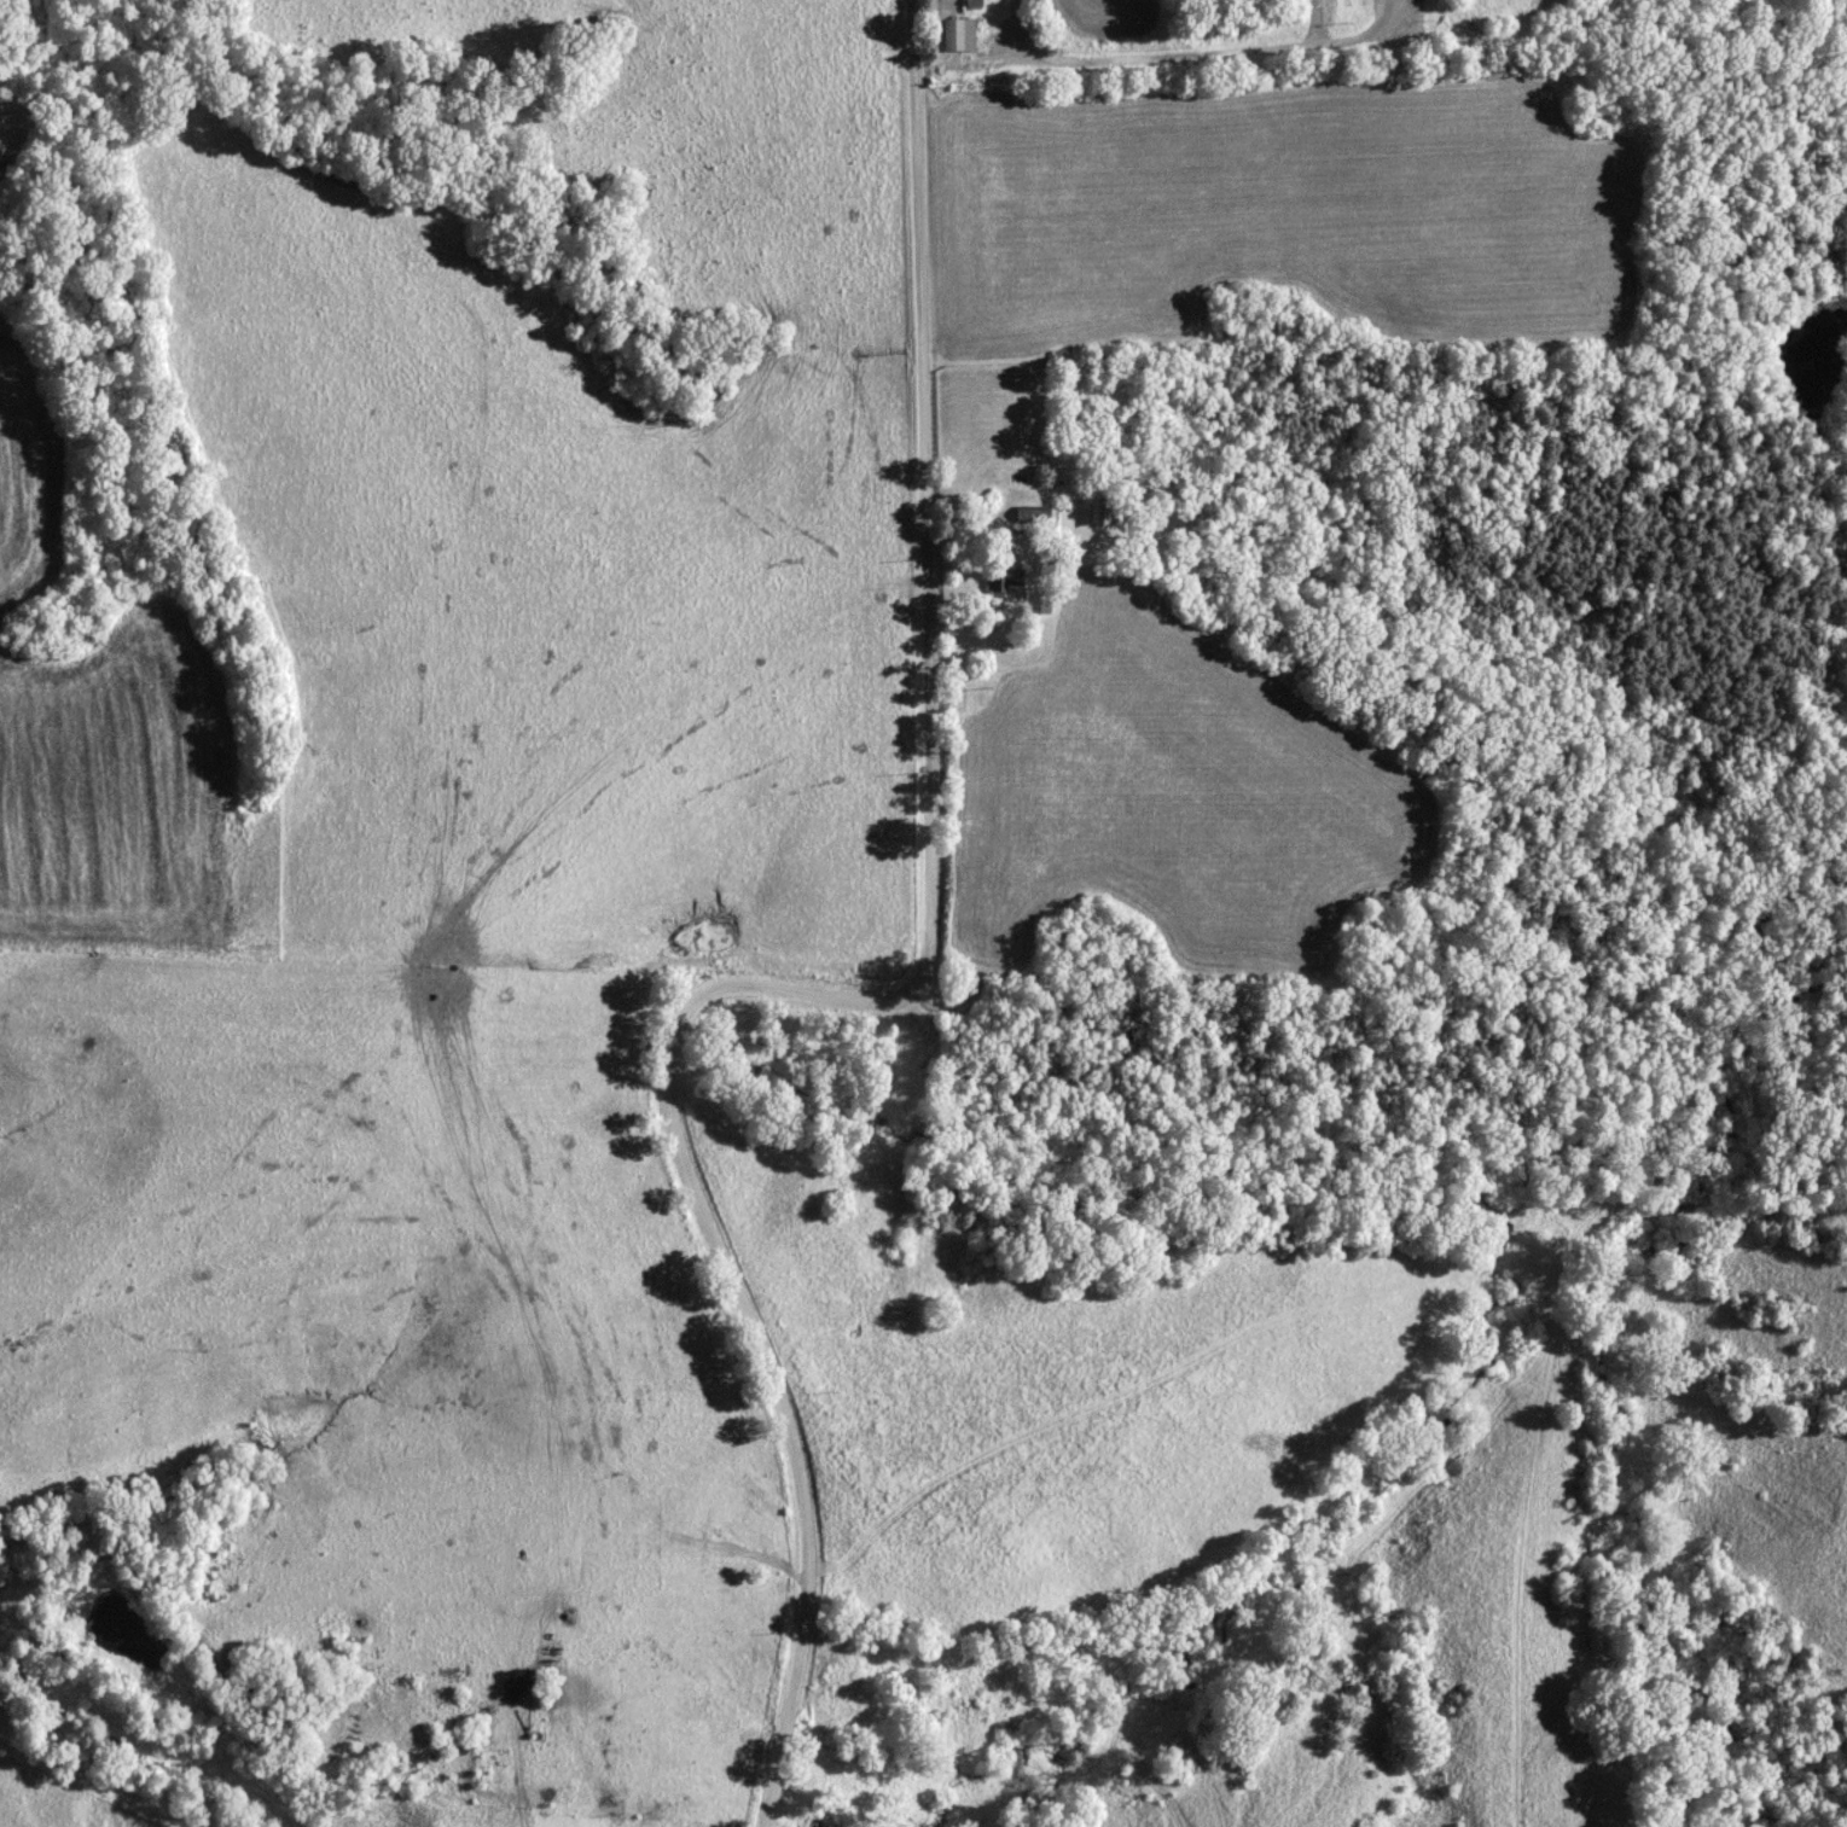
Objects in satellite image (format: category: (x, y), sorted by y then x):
building: (971, 2)
road: (1013, 29)
building: (956, 35)
road: (1155, 53)
building: (1102, 514)
building: (1032, 516)
building: (1003, 581)
road: (870, 991)
building: (547, 1792)

